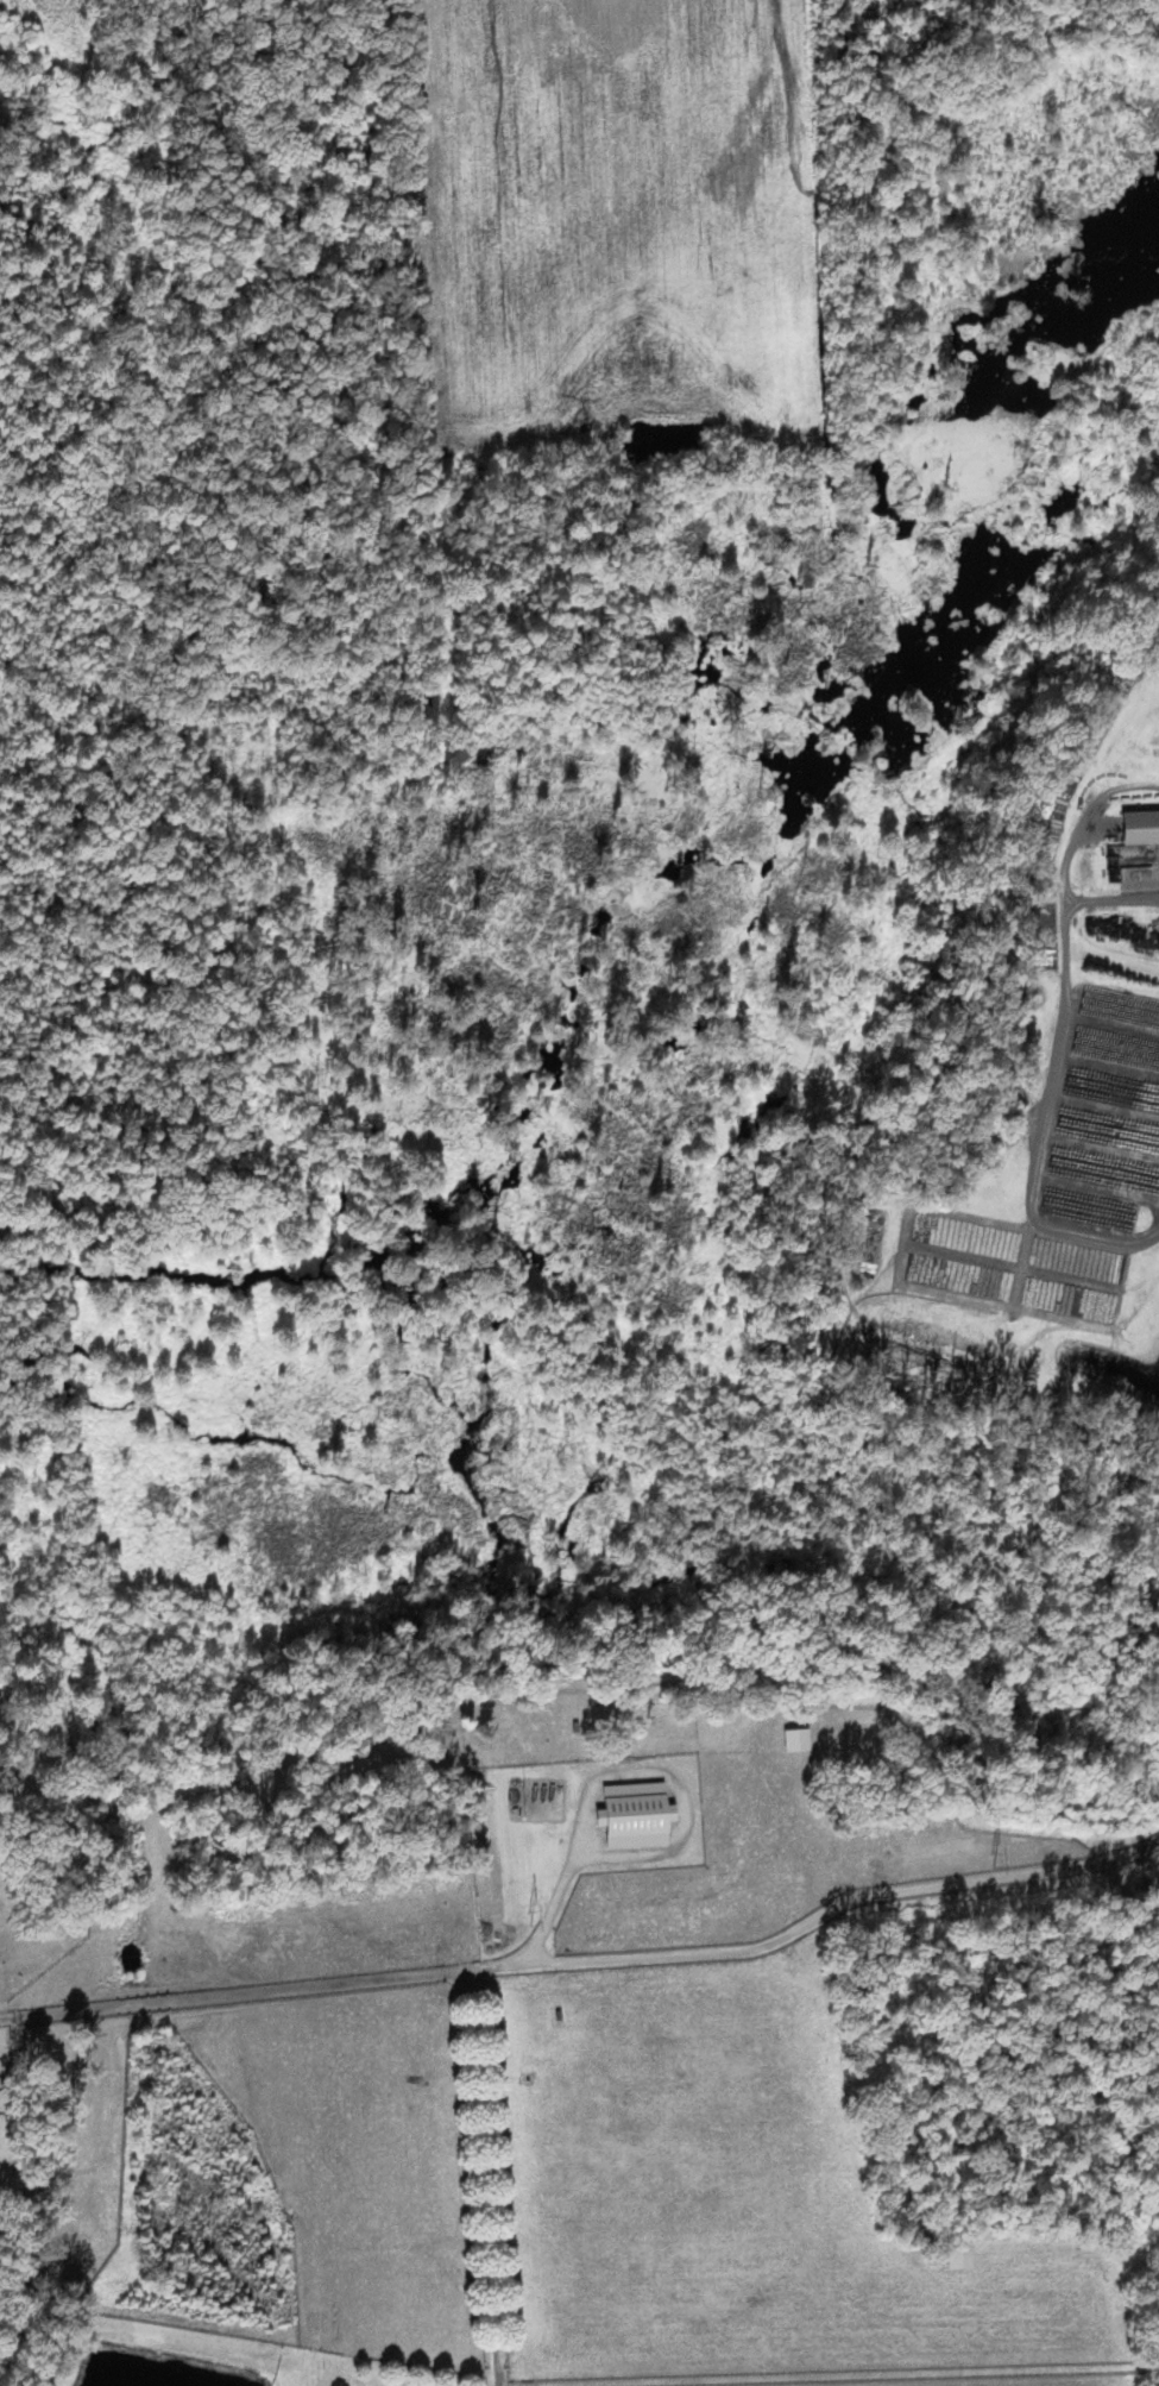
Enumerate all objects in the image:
building: (1139, 828)
building: (799, 1740)
building: (638, 1815)
power tower: (989, 1861)
power tower: (530, 1917)
building: (960, 2258)

